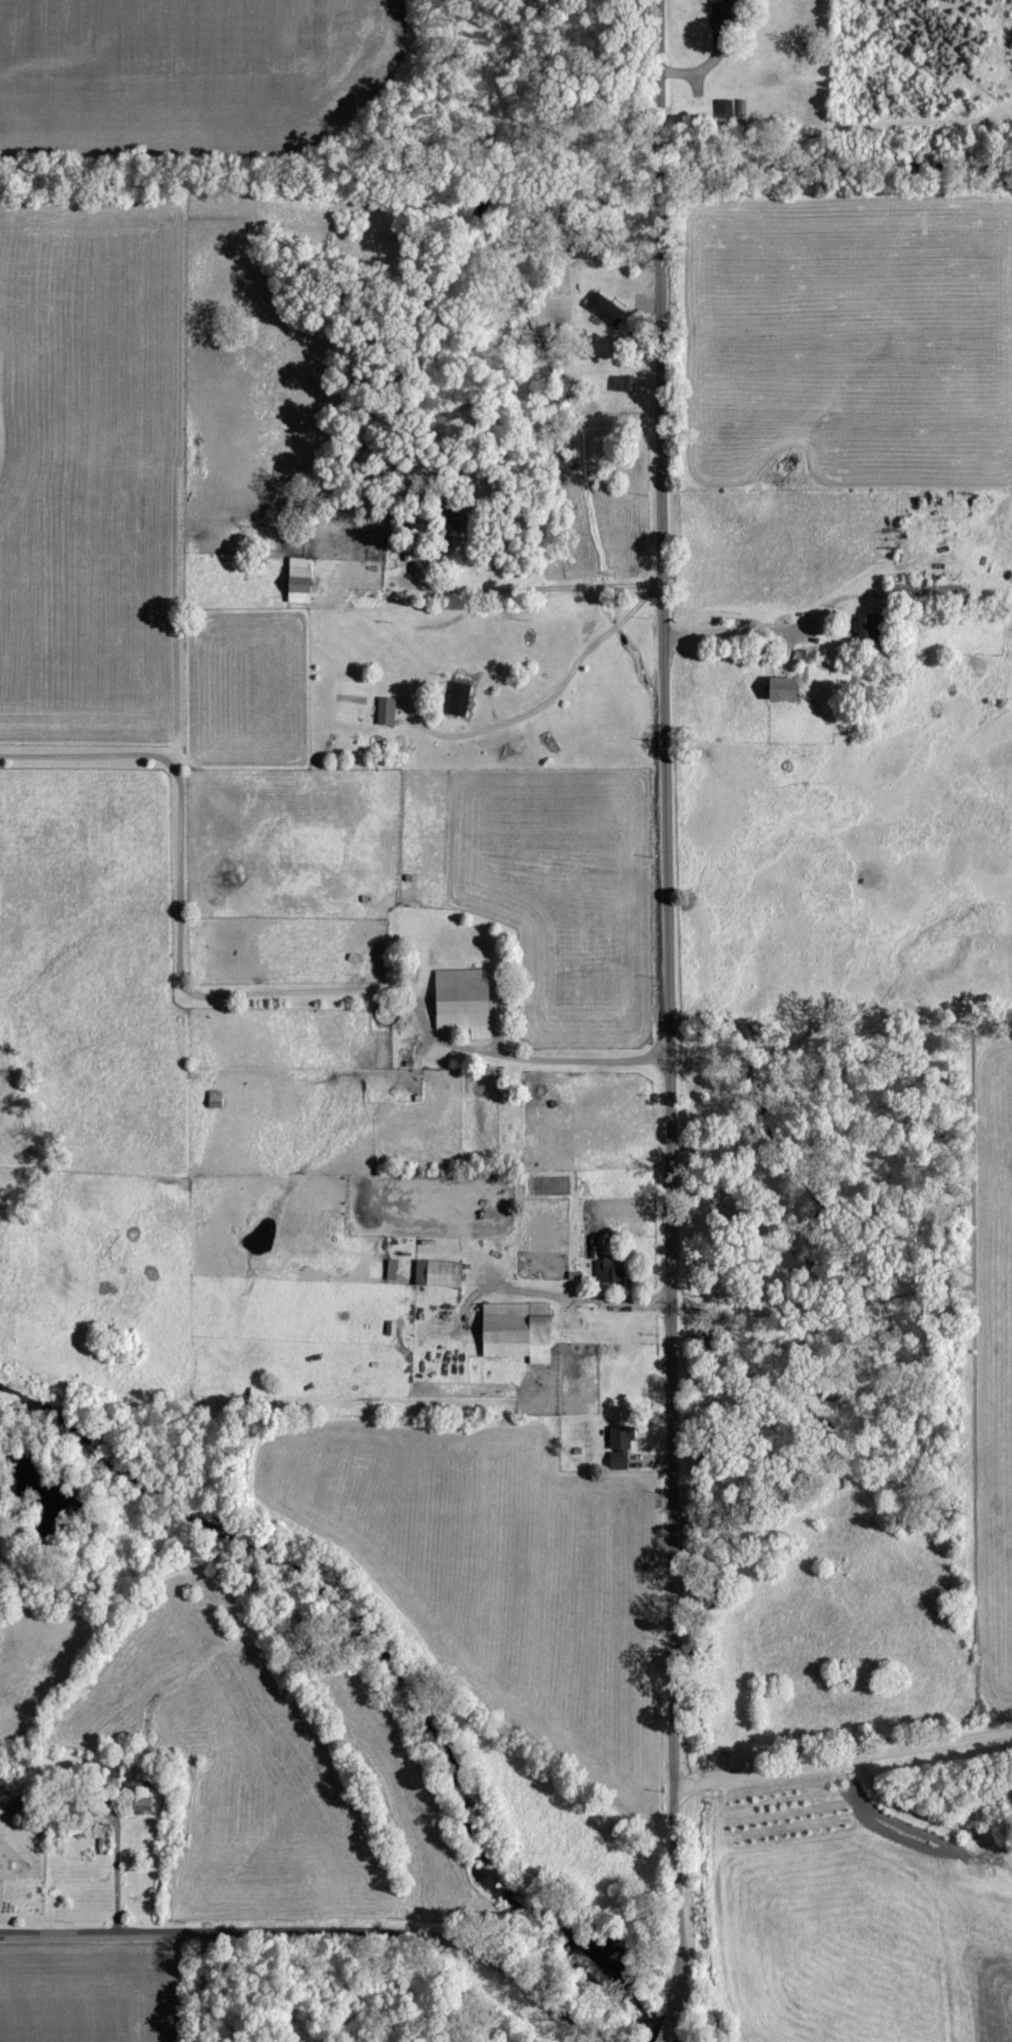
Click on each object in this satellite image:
building: (719, 2)
building: (719, 21)
building: (607, 308)
building: (624, 383)
building: (301, 581)
road: (512, 585)
building: (929, 592)
building: (869, 626)
road: (750, 628)
building: (804, 656)
building: (786, 690)
building: (460, 699)
building: (387, 711)
road: (666, 891)
building: (465, 1000)
building: (595, 1246)
building: (392, 1269)
building: (611, 1269)
building: (439, 1273)
building: (392, 1328)
building: (519, 1330)
building: (621, 1446)
road: (843, 1754)
building: (141, 1795)
road: (676, 1899)
road: (315, 1932)
road: (665, 2028)

